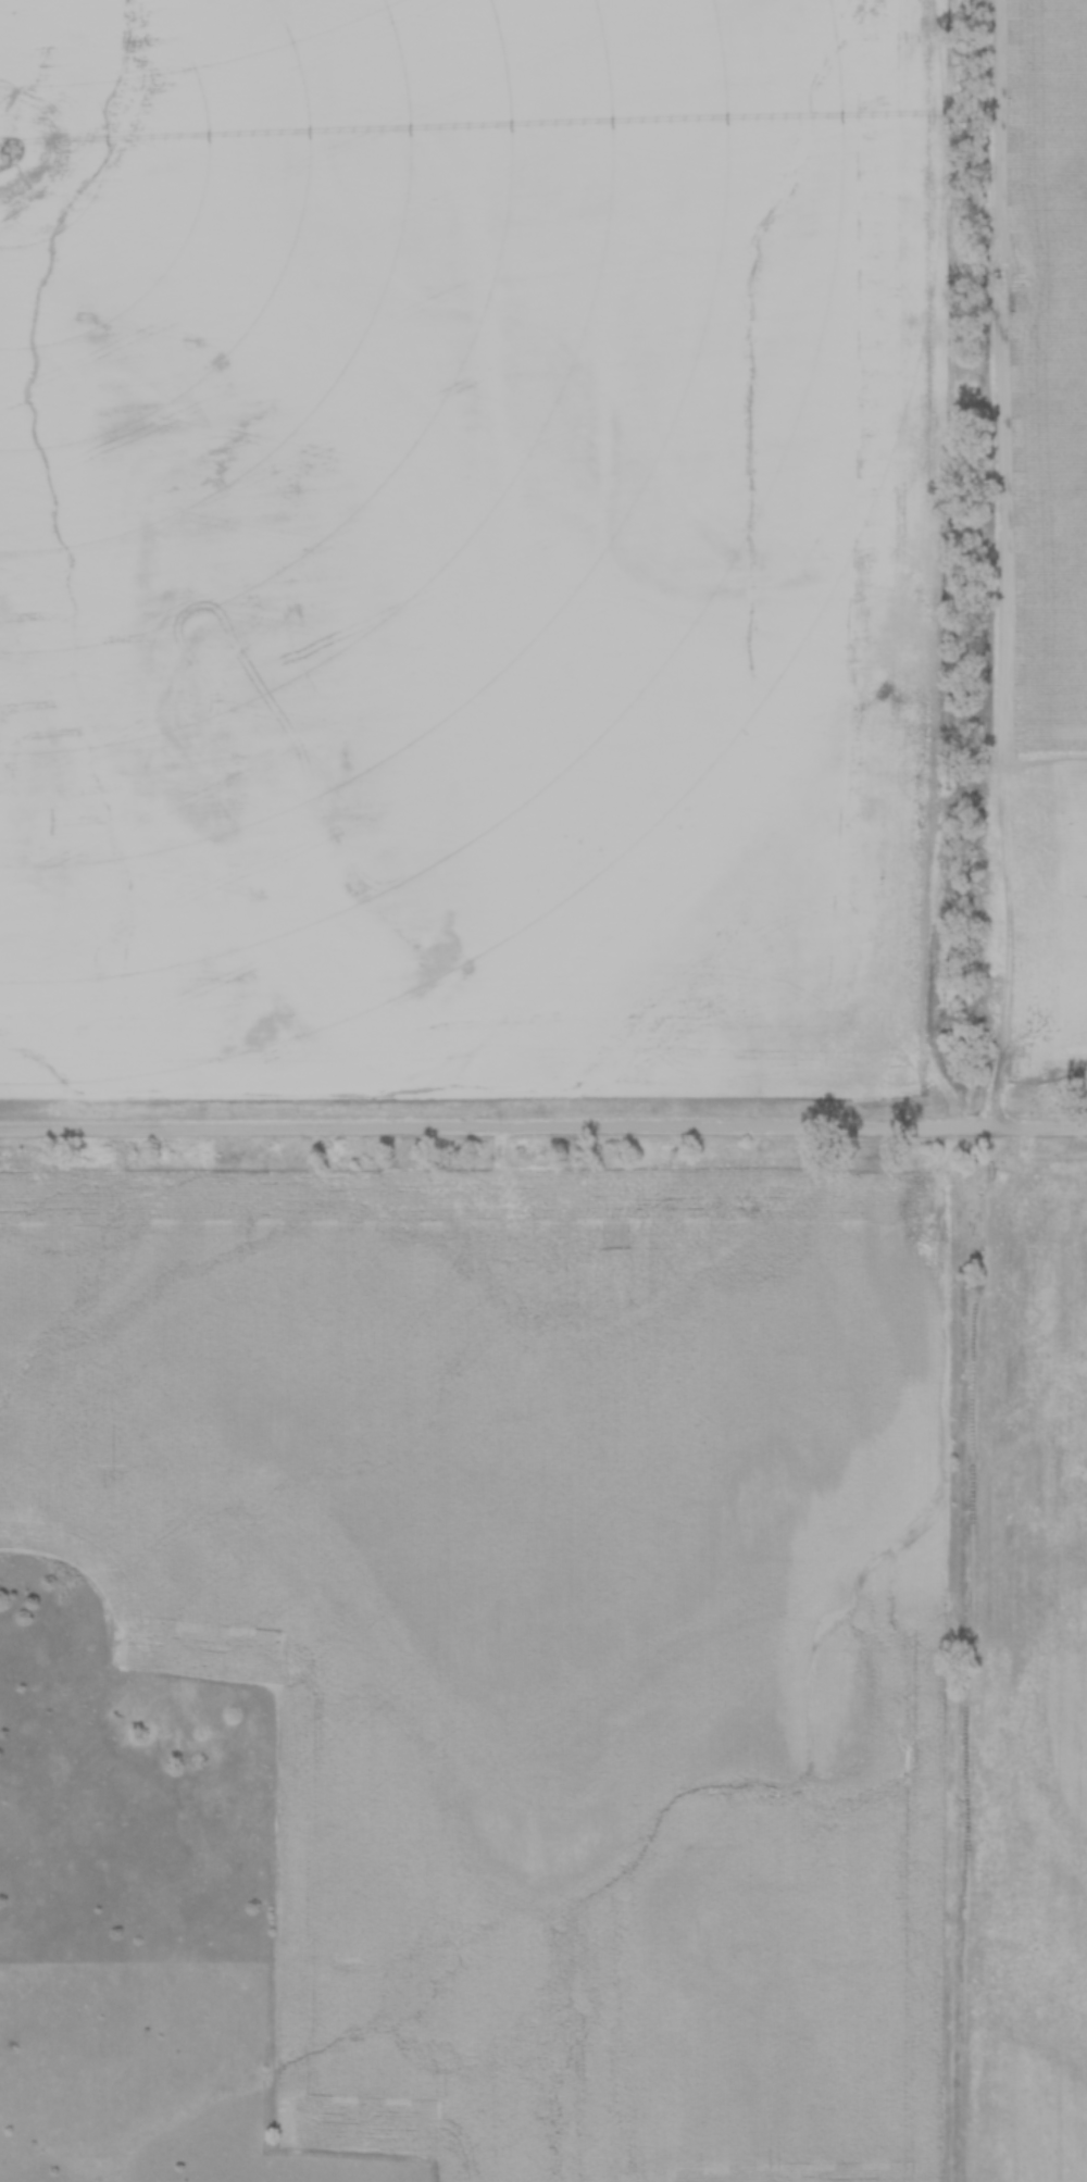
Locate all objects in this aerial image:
road: (542, 1130)

